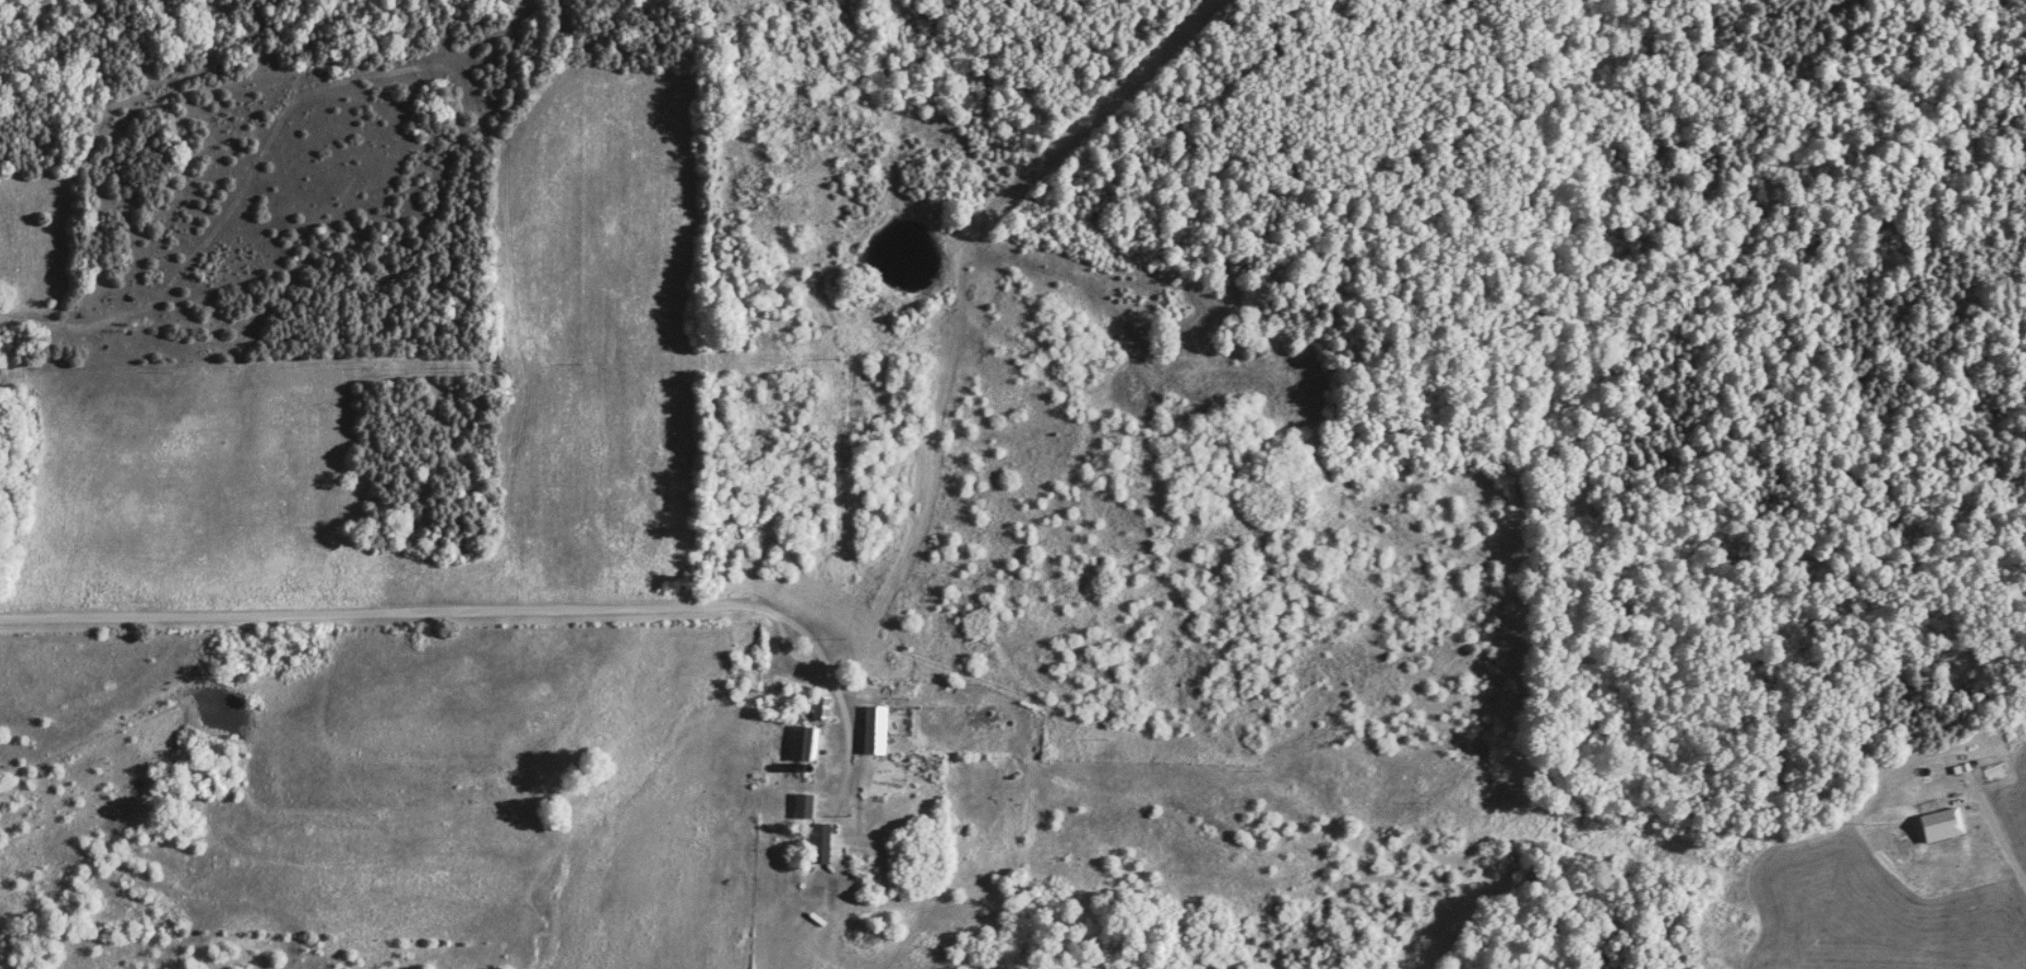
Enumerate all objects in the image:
road: (257, 162)
road: (504, 609)
building: (875, 728)
building: (805, 742)
building: (803, 804)
building: (821, 842)

